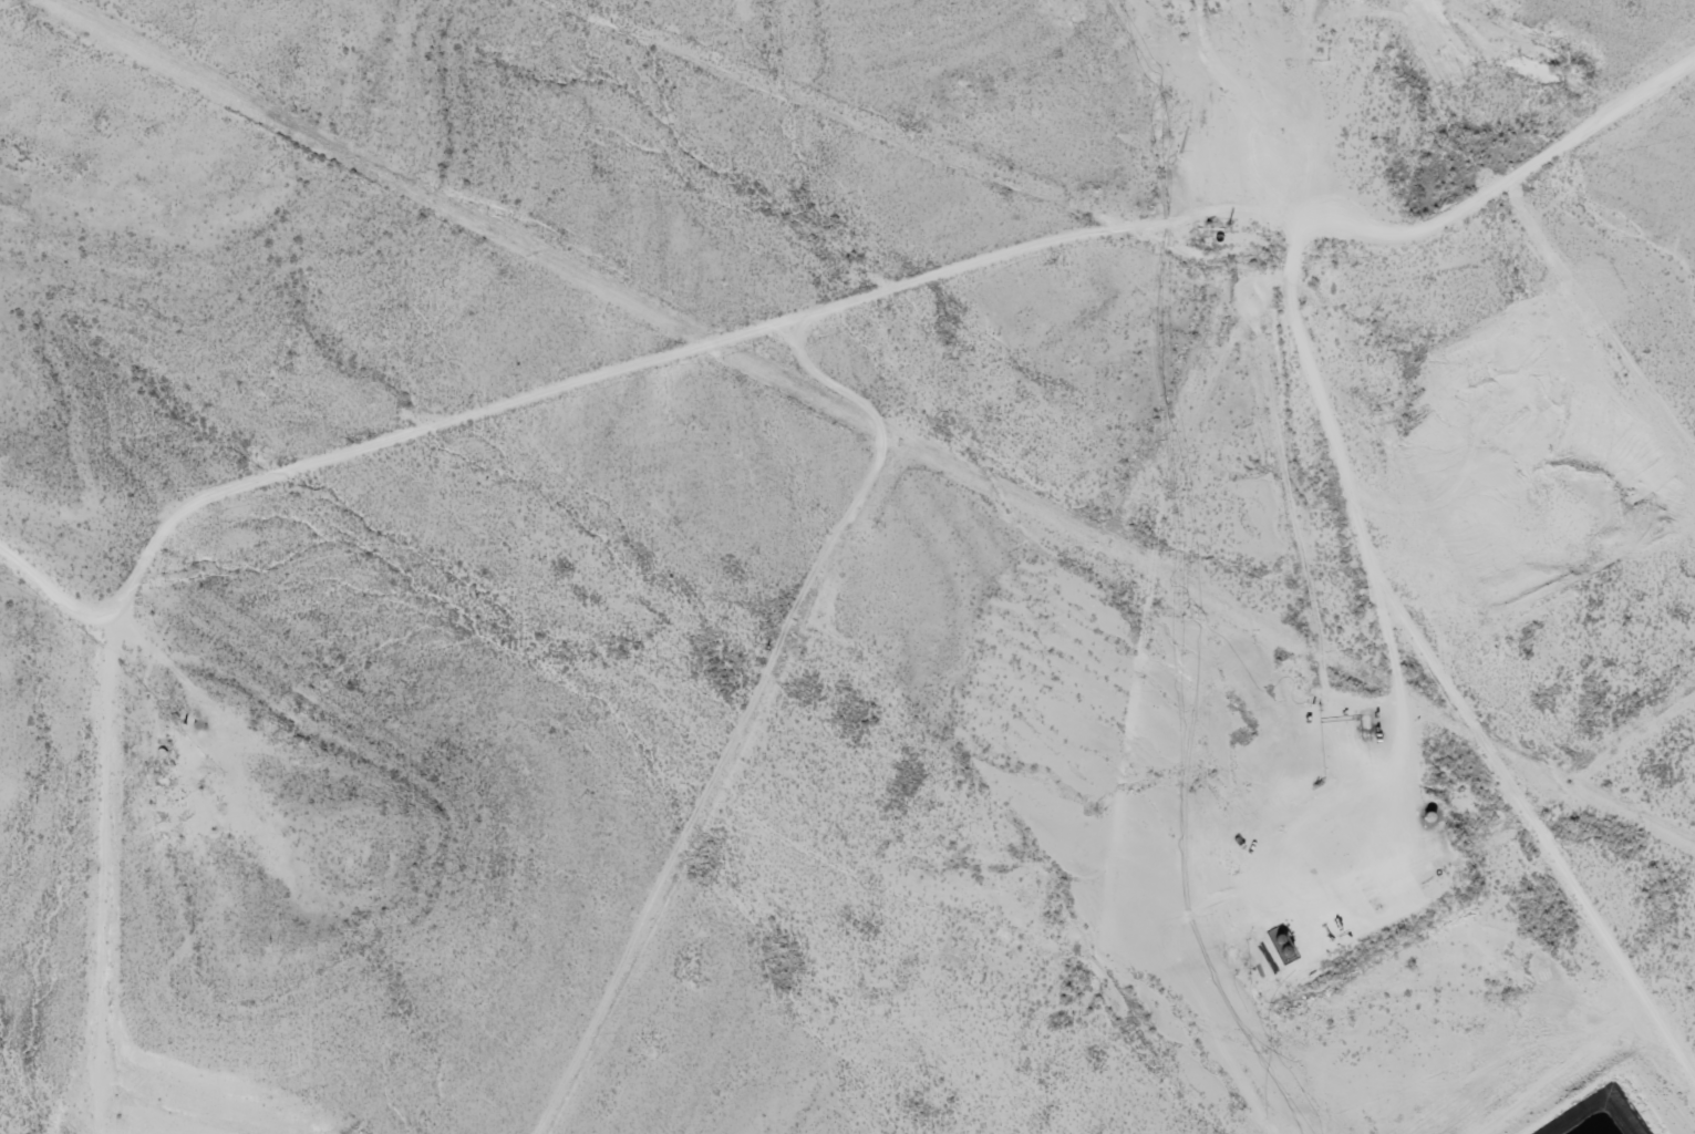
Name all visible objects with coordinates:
road: (11, 3)
road: (1104, 203)
road: (1091, 692)

